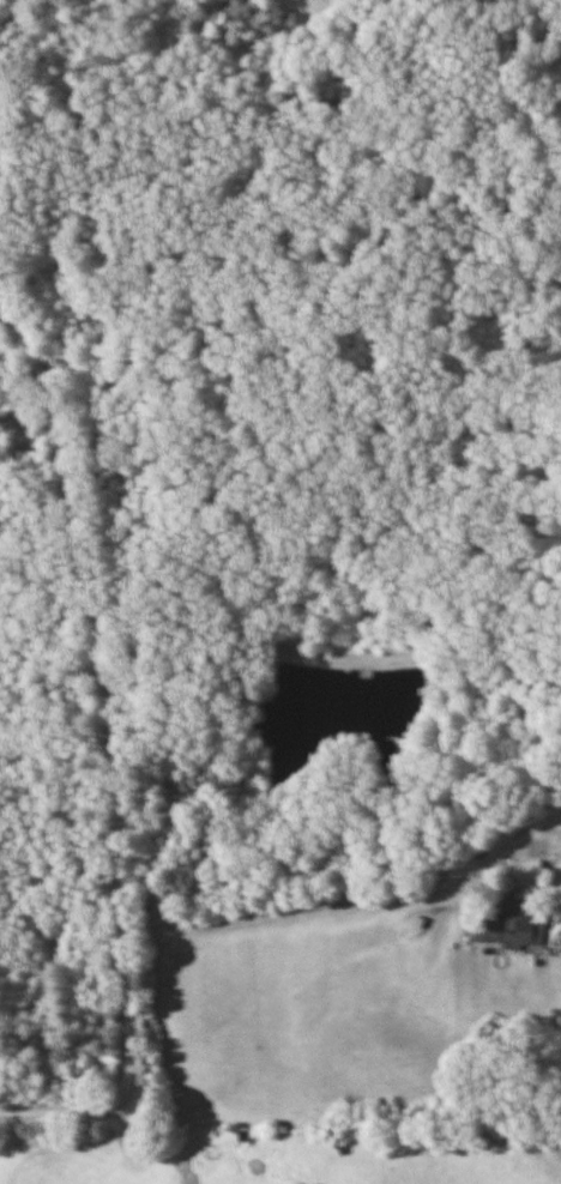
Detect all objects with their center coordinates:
road: (110, 755)
road: (310, 908)
building: (512, 922)

